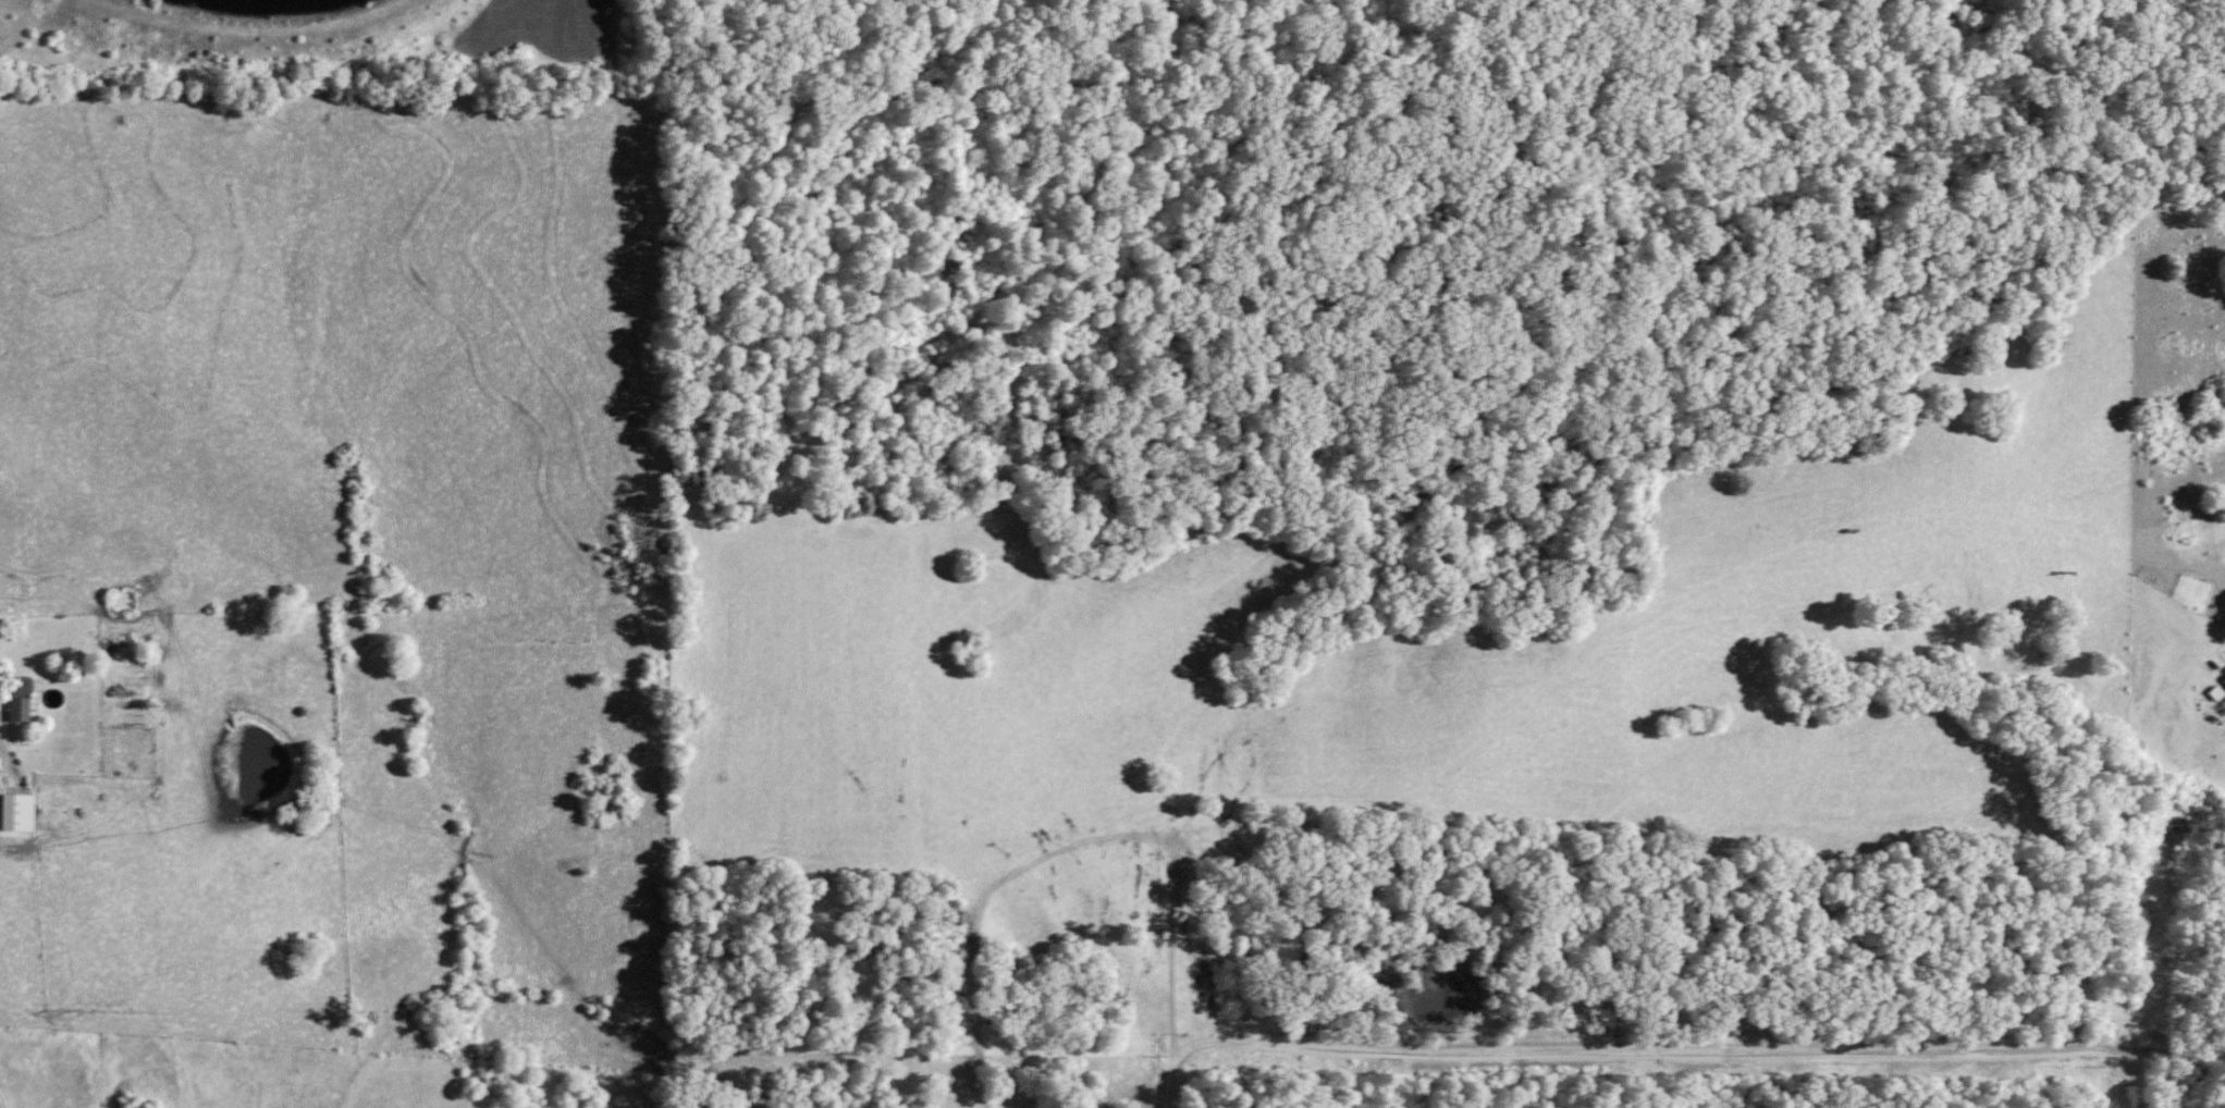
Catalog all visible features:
building: (16, 698)
road: (61, 781)
building: (15, 812)
road: (2174, 1049)
road: (1619, 1050)
road: (2135, 1079)

